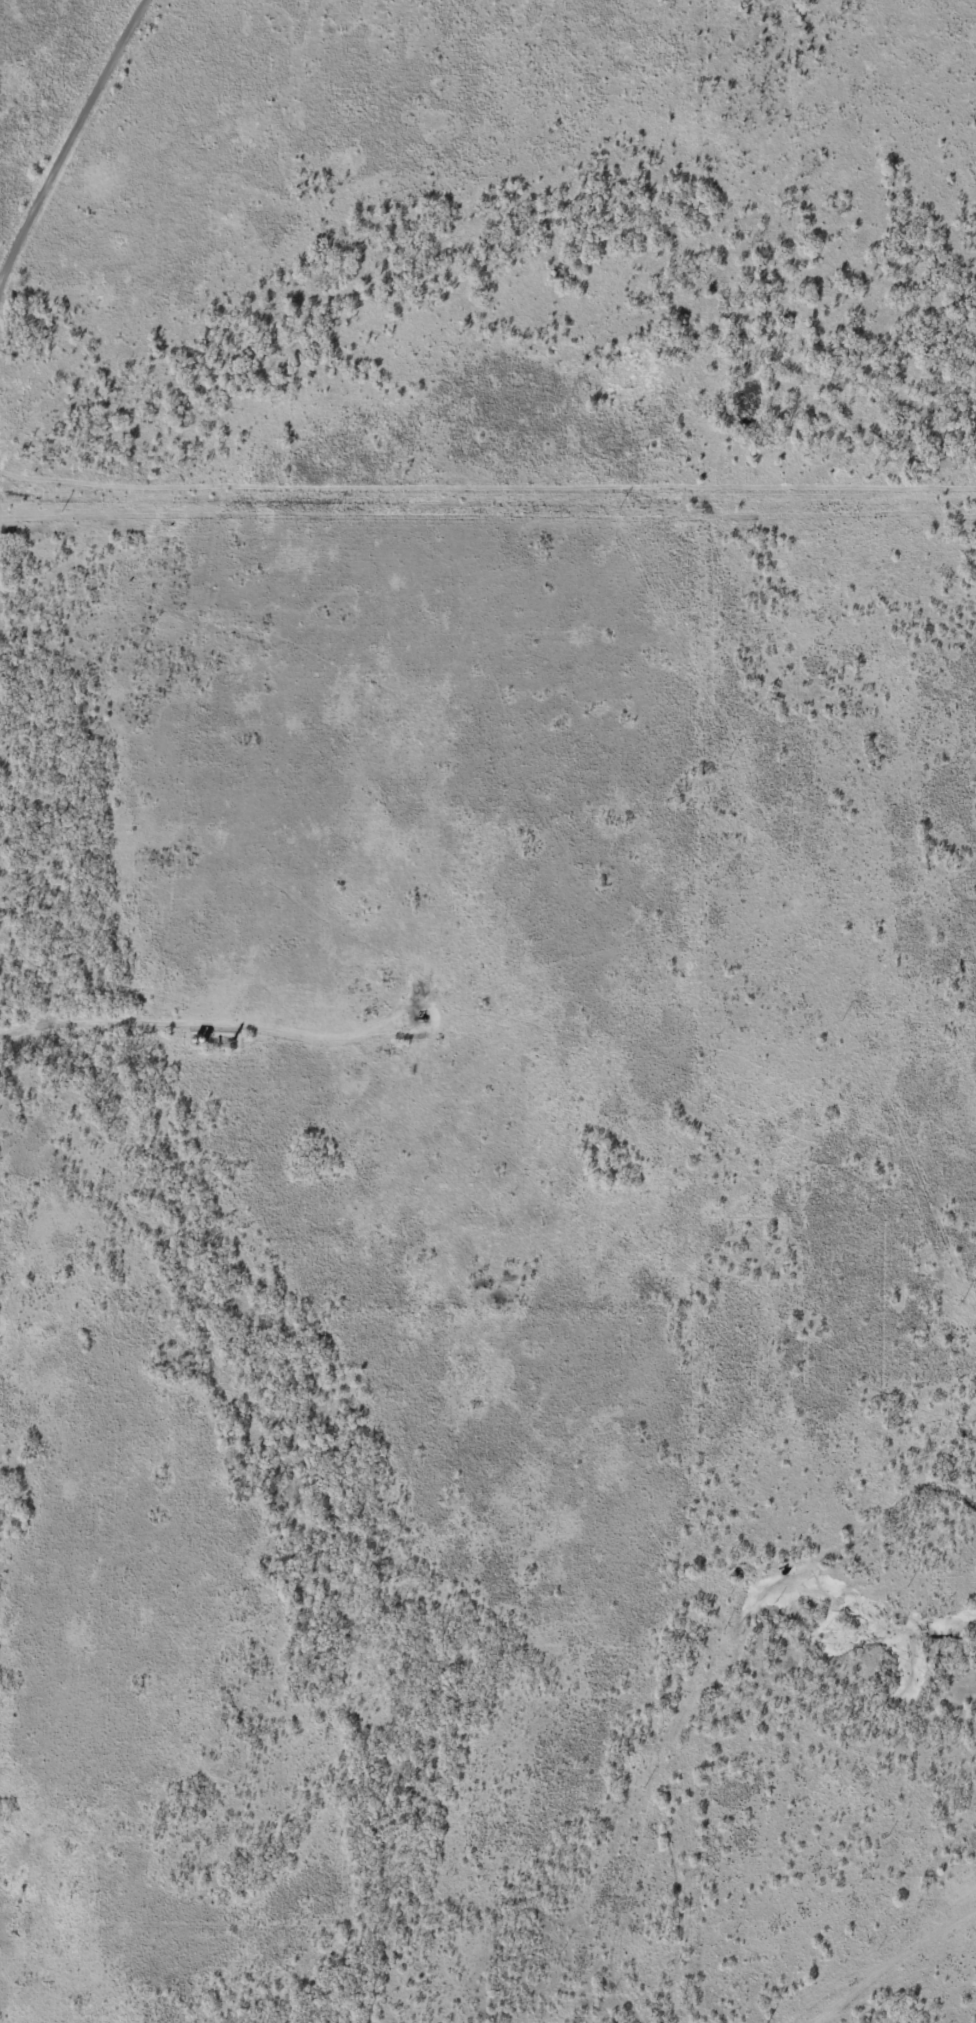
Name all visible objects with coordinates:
road: (67, 149)
road: (615, 1863)
road: (893, 1929)

